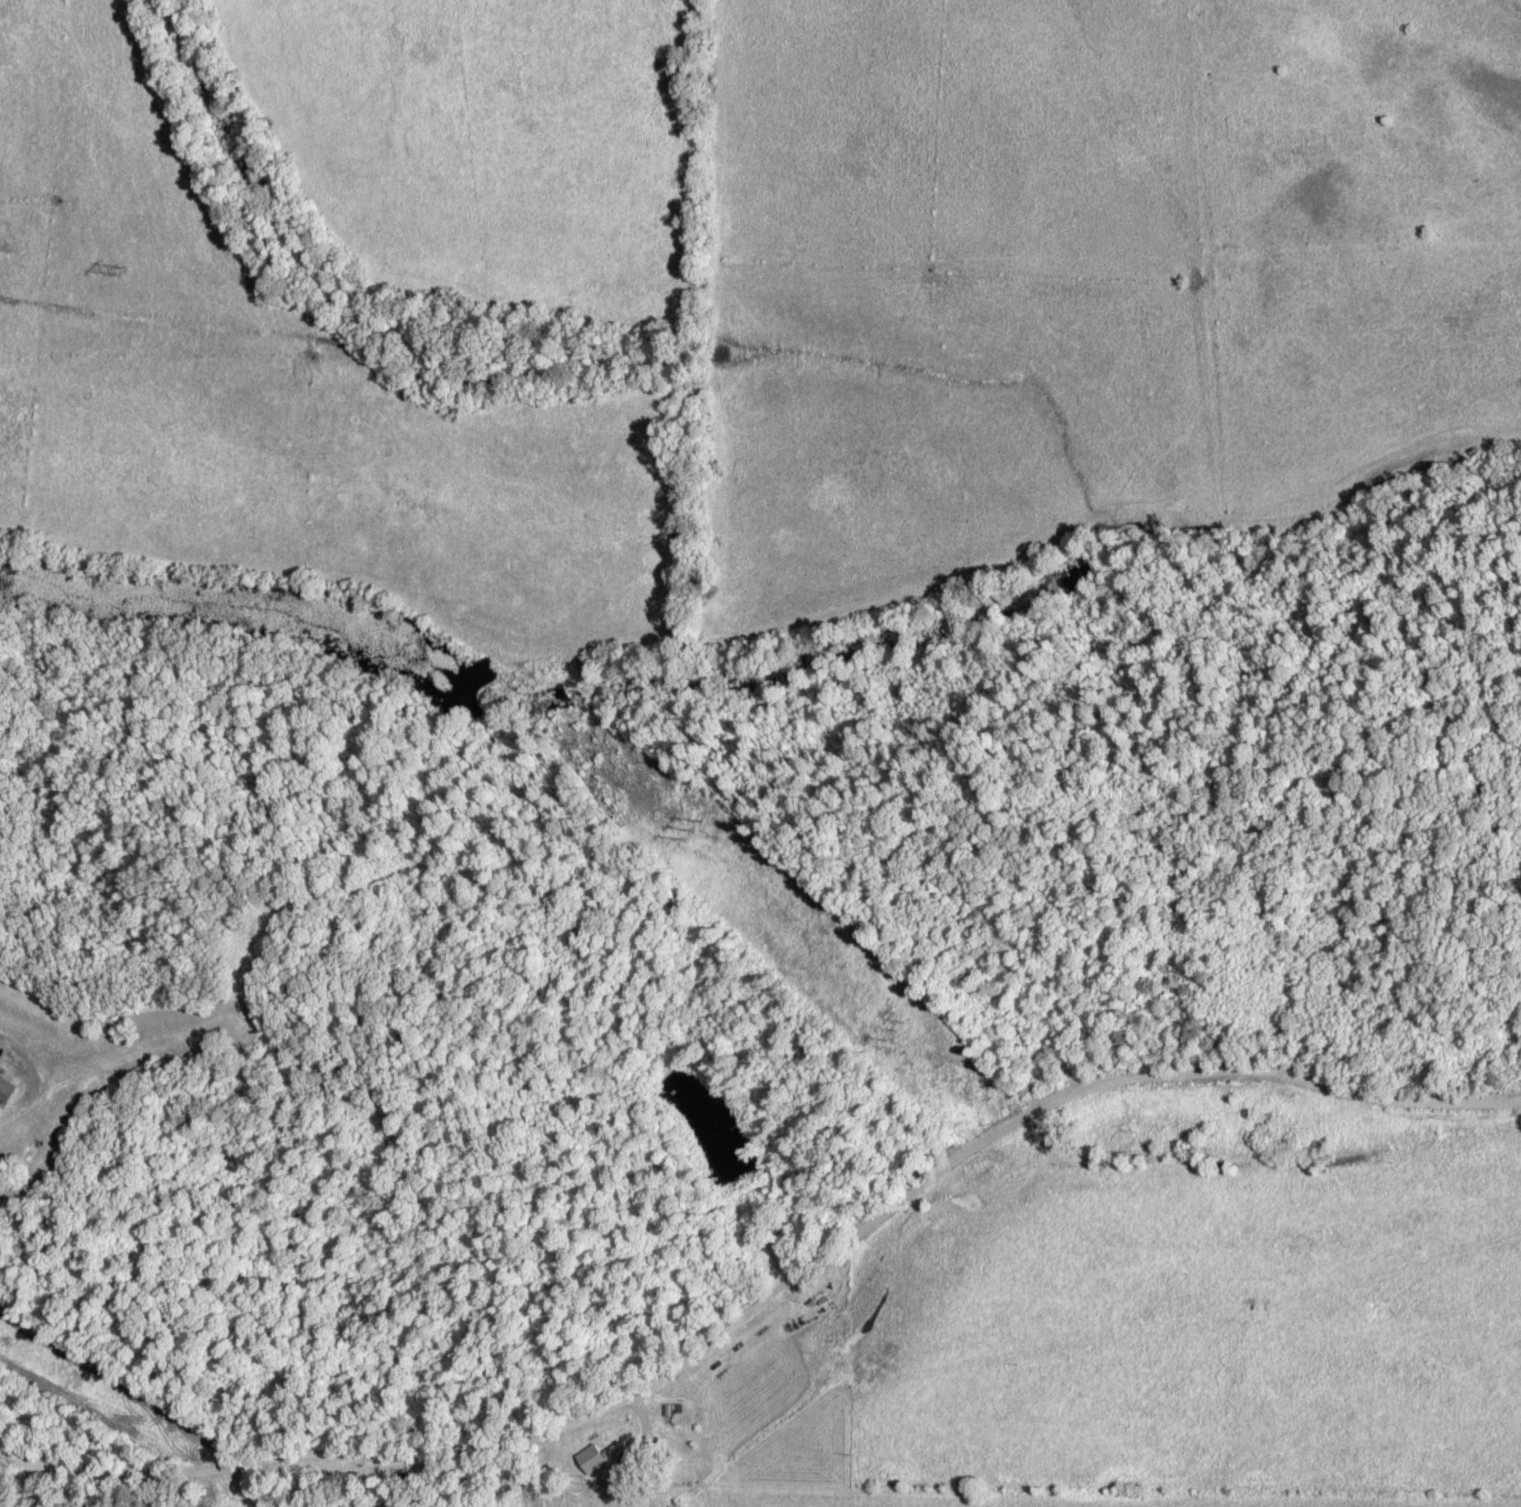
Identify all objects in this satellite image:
power tower: (120, 264)
power tower: (675, 829)
power tower: (887, 1024)
road: (1247, 1069)
building: (4, 1088)
road: (534, 1433)
building: (595, 1458)

